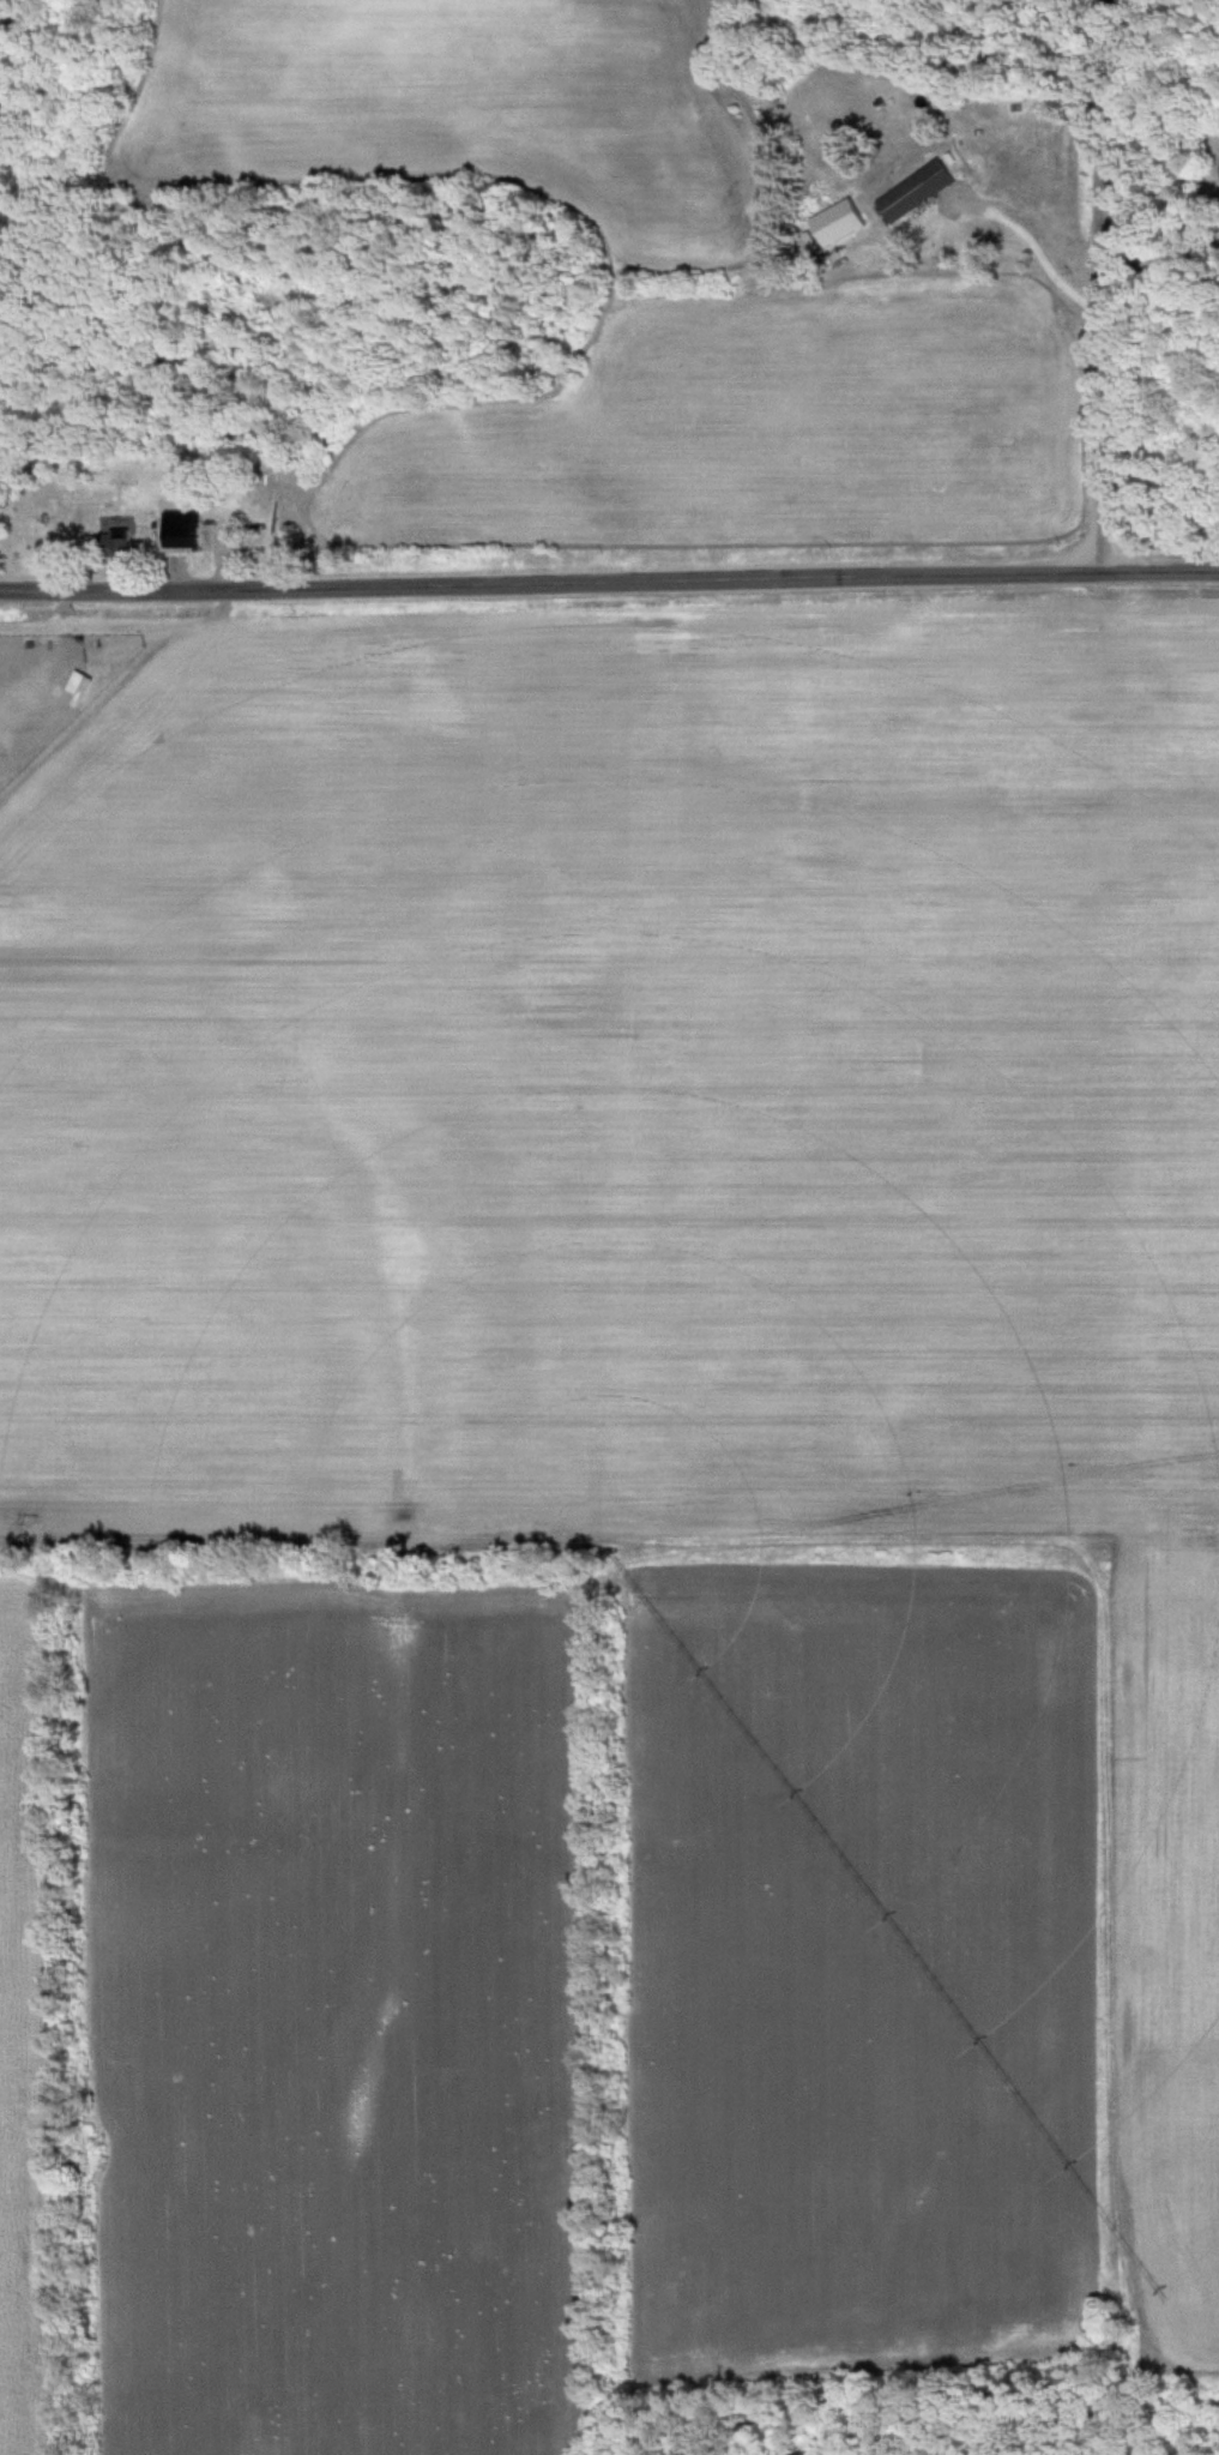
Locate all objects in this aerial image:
building: (918, 192)
road: (1039, 241)
road: (1108, 288)
building: (182, 535)
building: (117, 544)
road: (609, 588)

